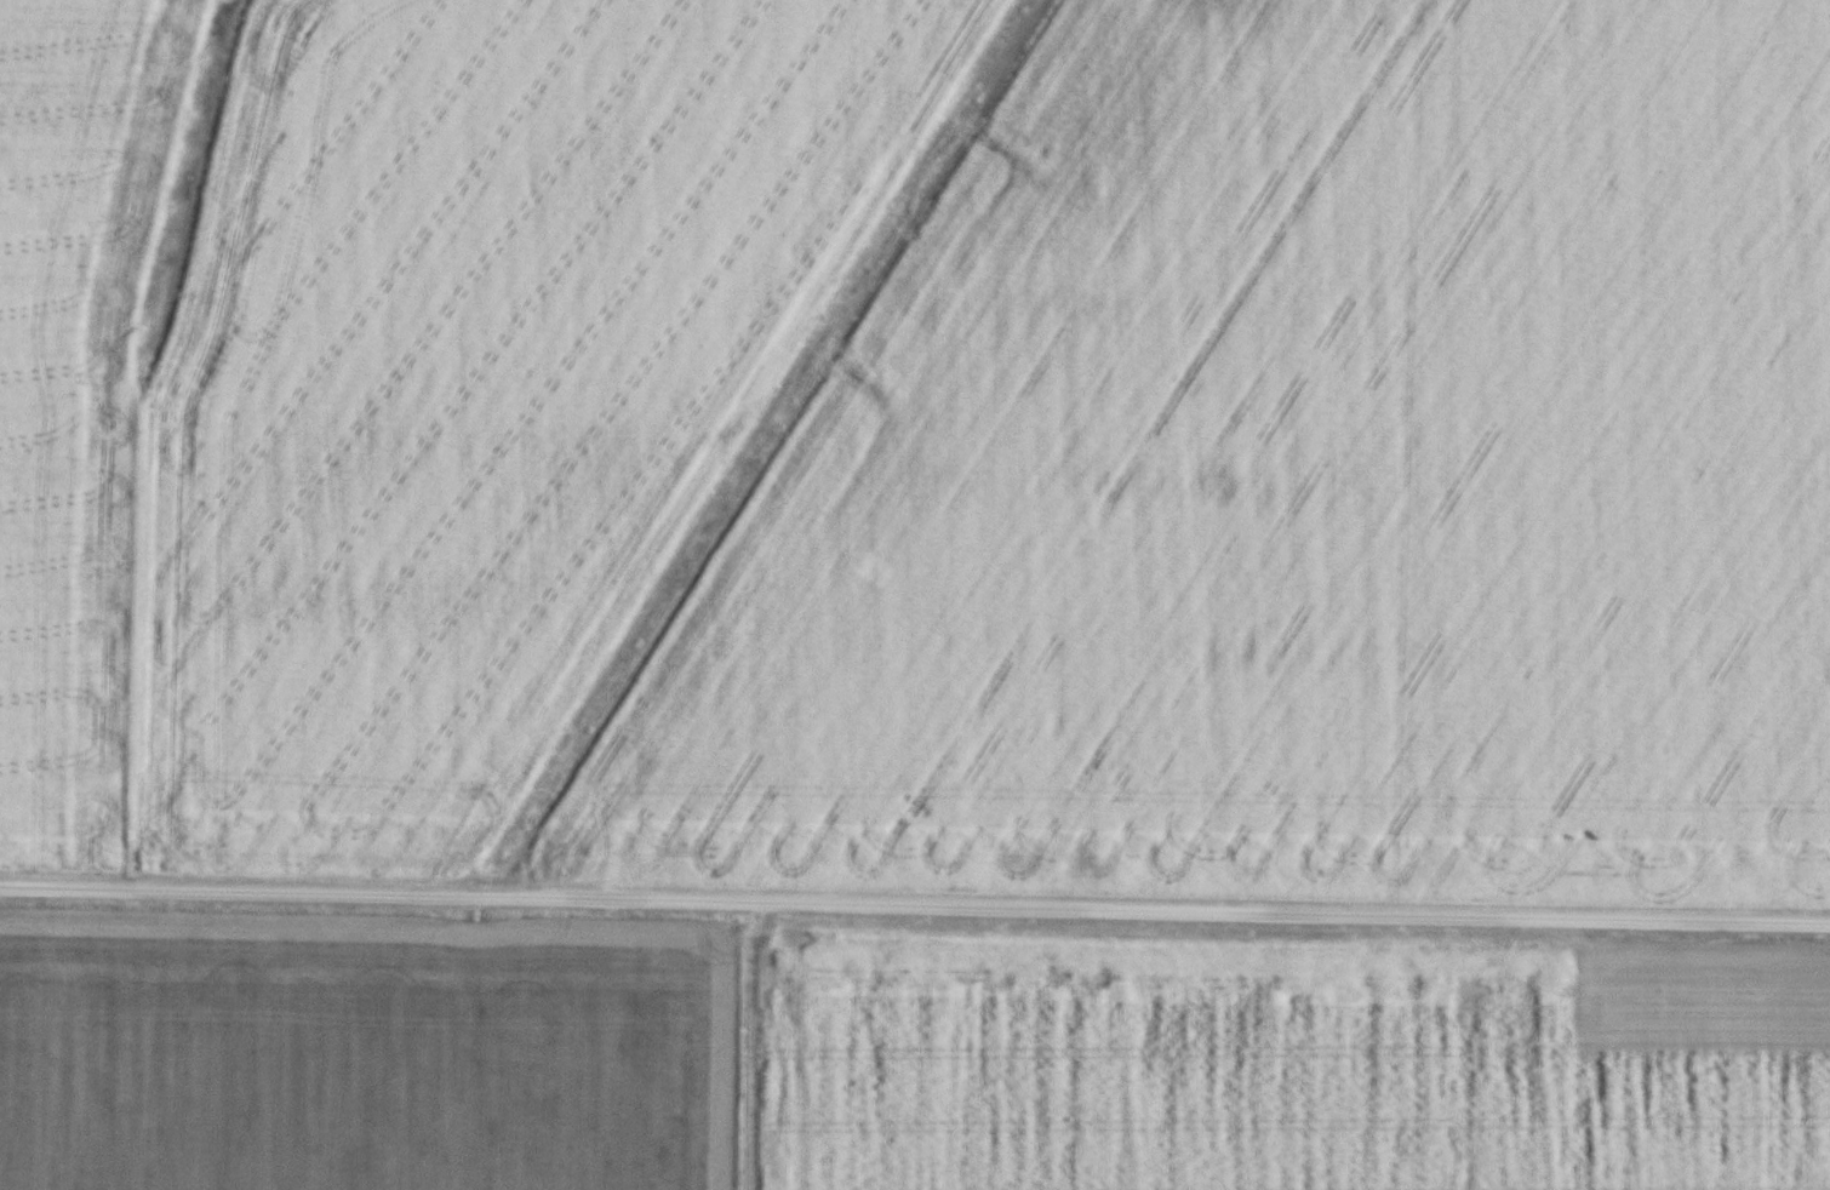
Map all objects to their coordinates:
road: (914, 909)

